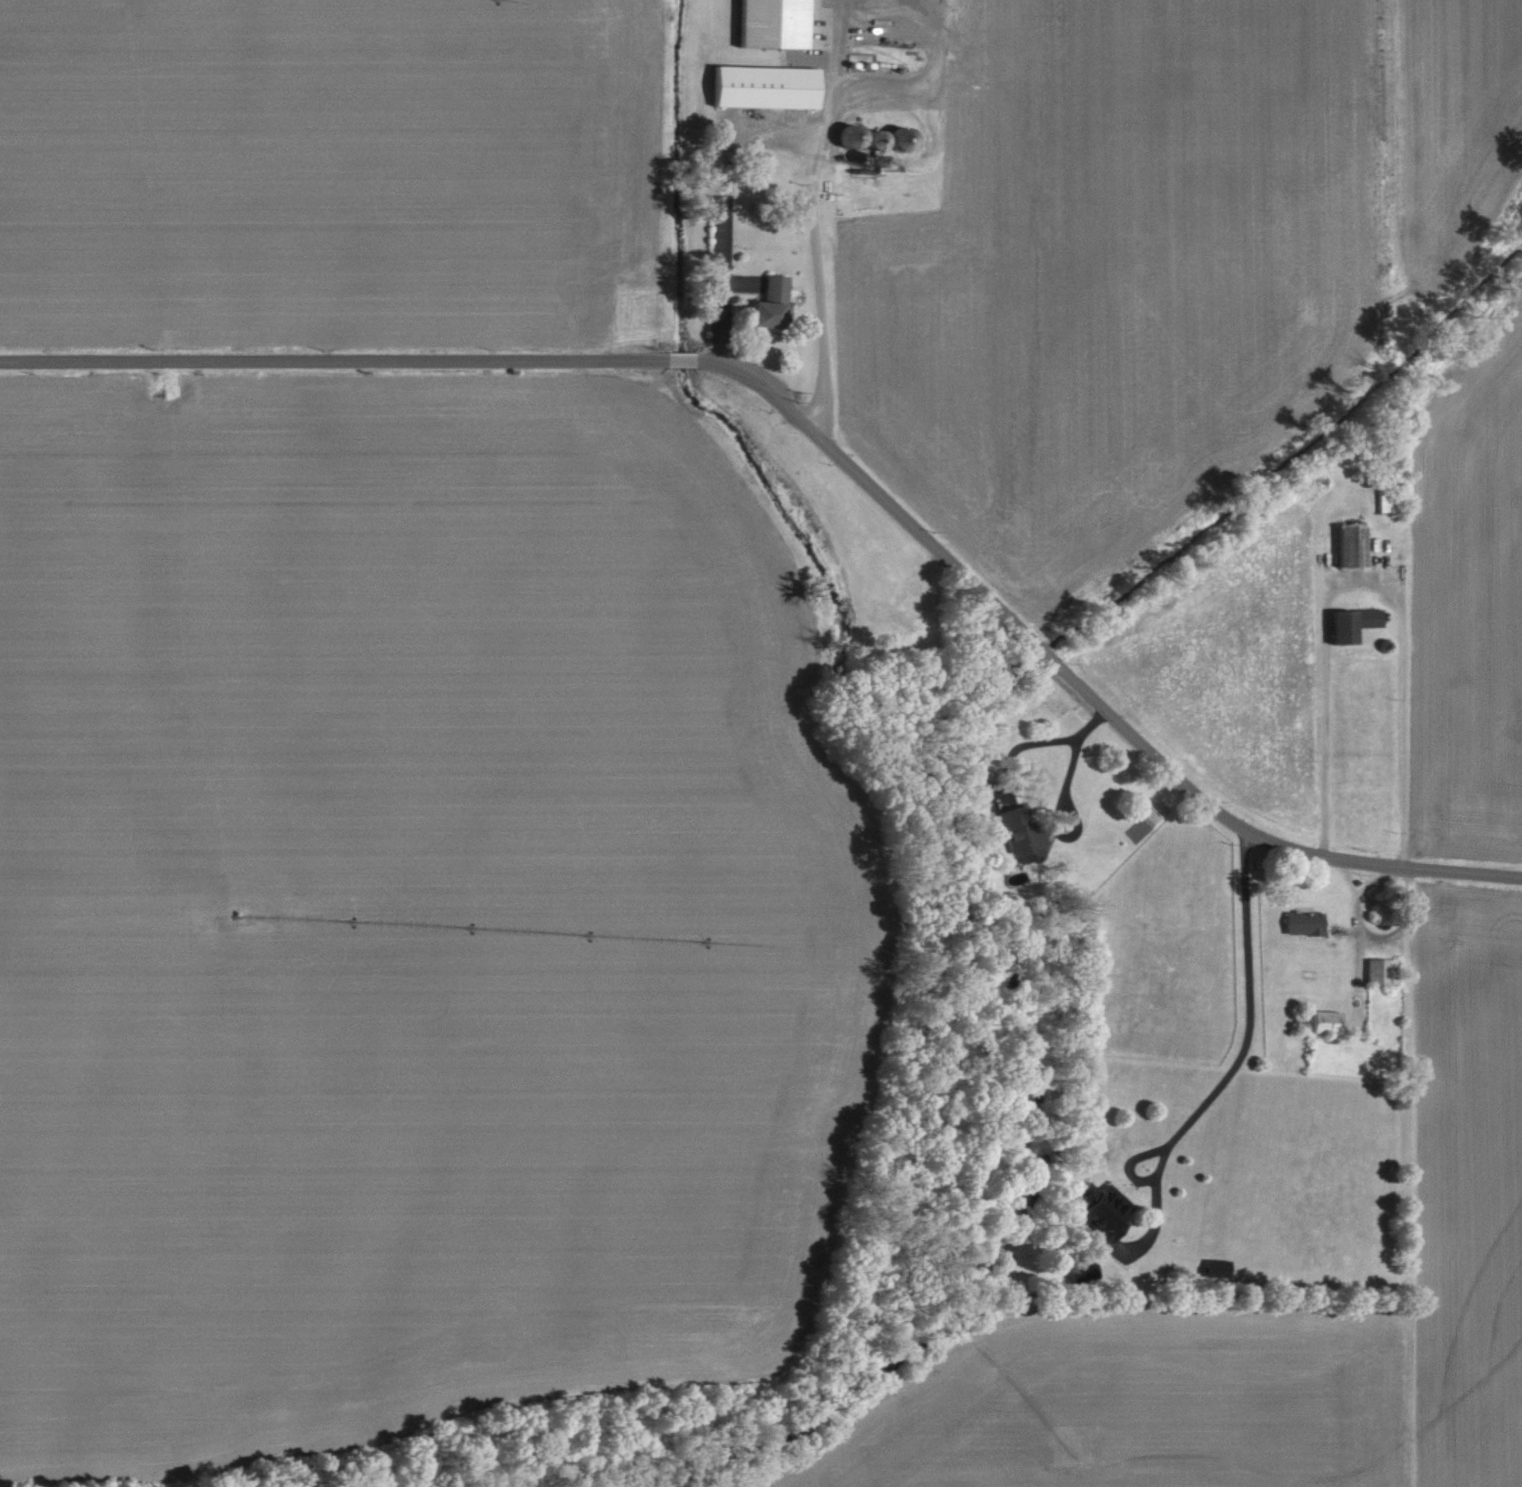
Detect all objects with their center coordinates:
building: (766, 24)
road: (833, 73)
building: (759, 87)
road: (798, 140)
building: (763, 305)
road: (825, 440)
building: (1347, 547)
road: (1367, 585)
road: (1020, 745)
road: (1072, 760)
building: (1019, 834)
building: (1300, 923)
building: (1377, 971)
road: (1248, 1010)
building: (1321, 1022)
building: (1100, 1211)

